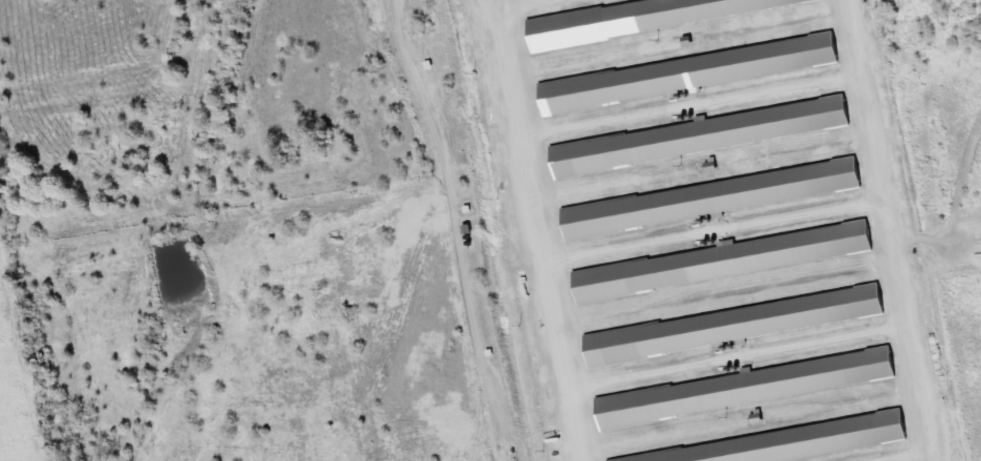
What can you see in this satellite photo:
building: (656, 17)
building: (693, 74)
building: (710, 136)
building: (716, 199)
building: (732, 261)
road: (850, 285)
building: (731, 327)
building: (753, 388)
building: (795, 444)

